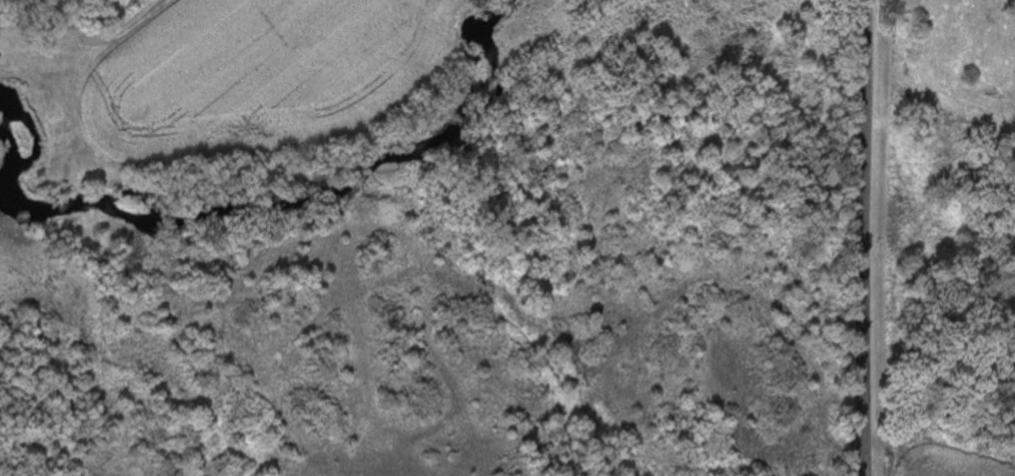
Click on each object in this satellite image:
road: (866, 237)

